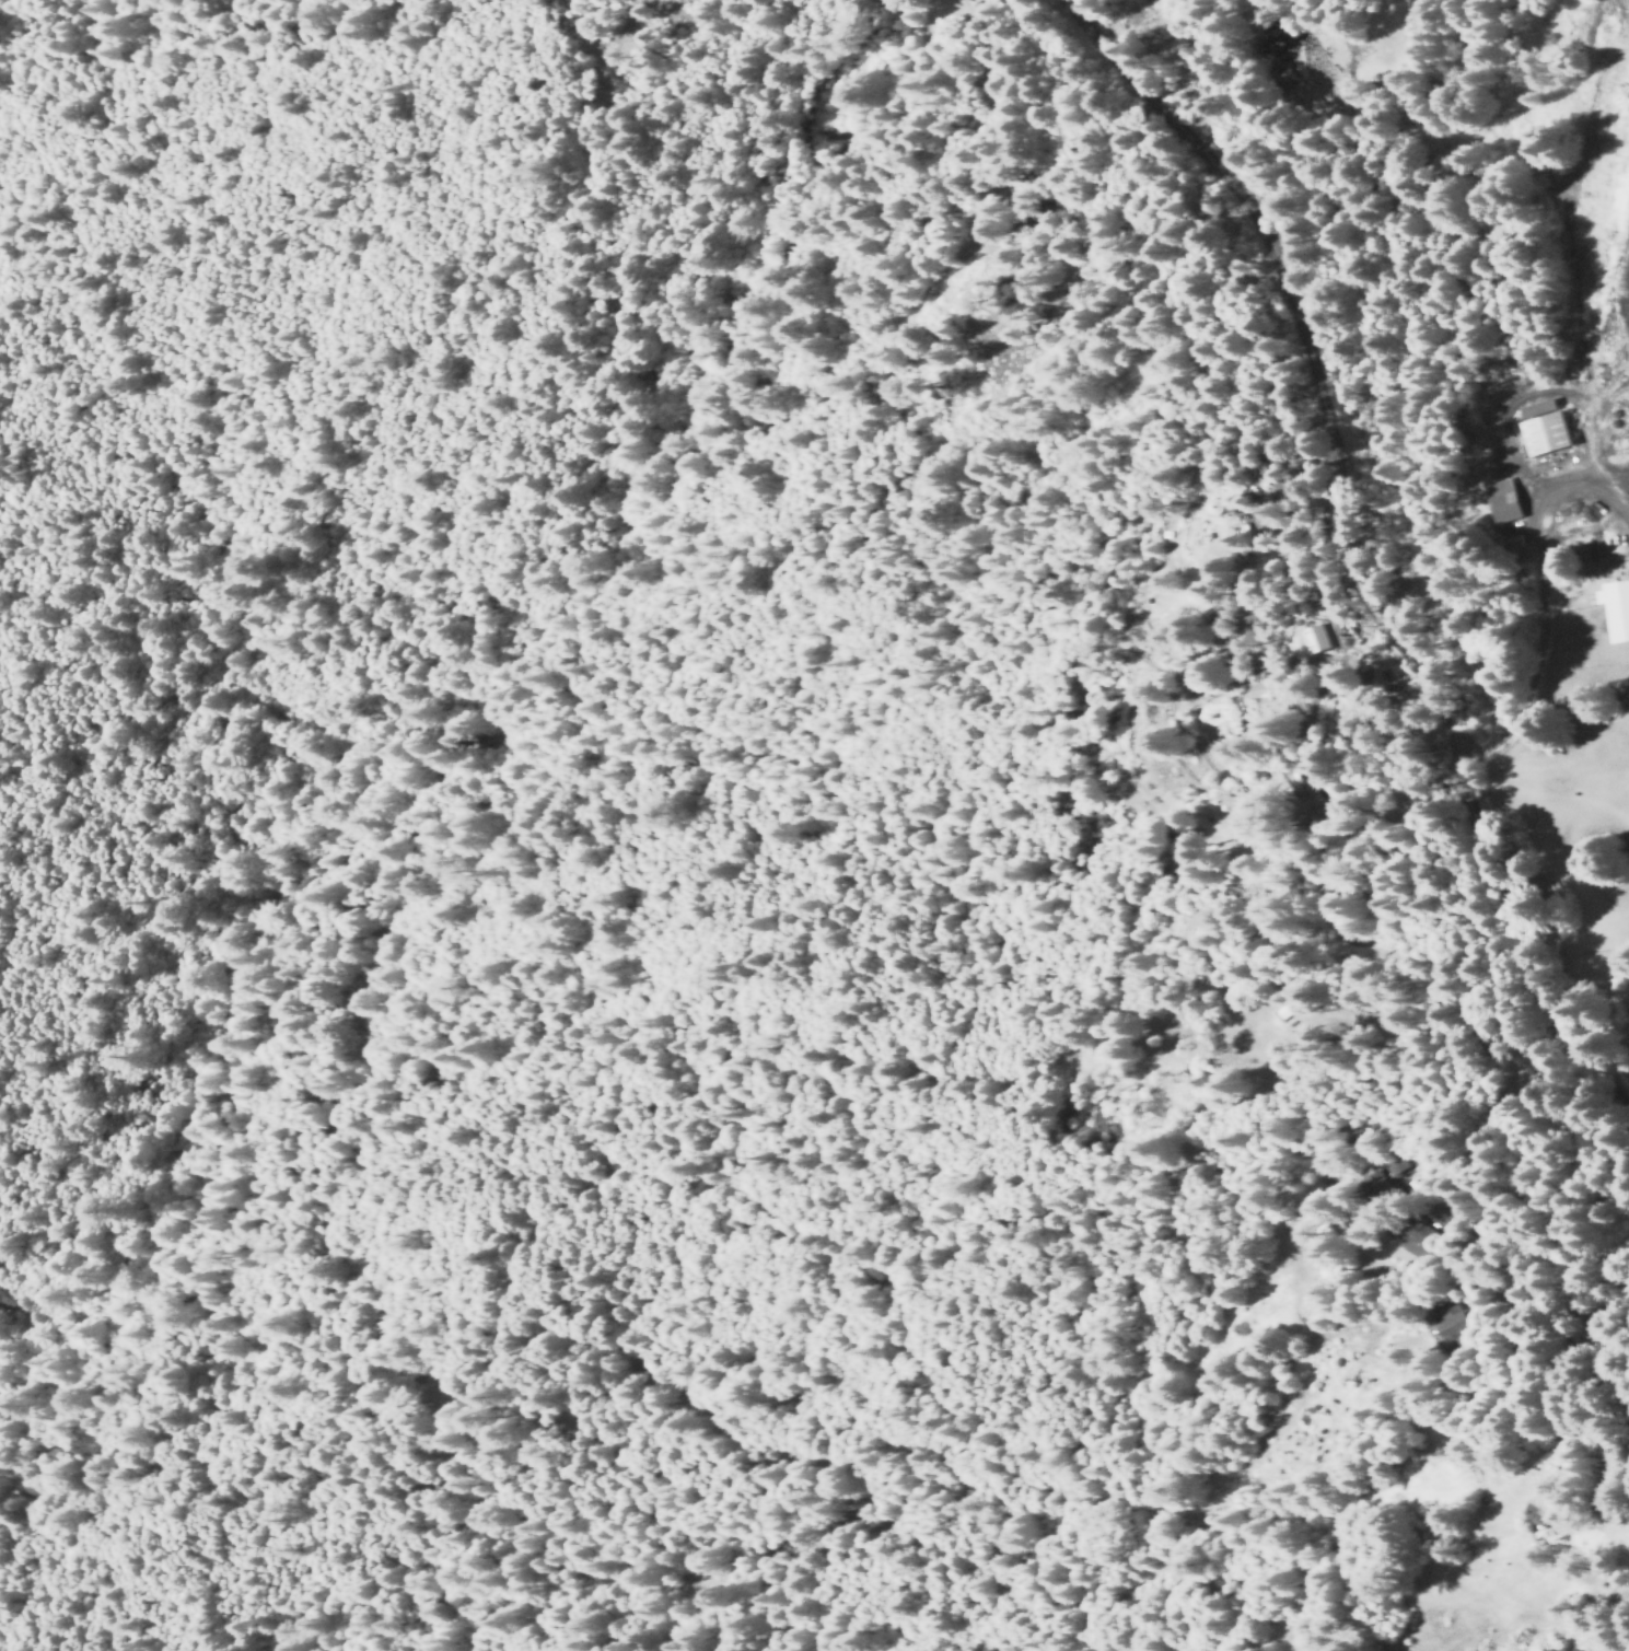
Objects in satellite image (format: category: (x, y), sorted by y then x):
building: (981, 11)
building: (1013, 302)
building: (1543, 428)
building: (1502, 501)
building: (1213, 505)
road: (1358, 550)
building: (1616, 609)
building: (1322, 638)
road: (1538, 659)
building: (1282, 701)
building: (1322, 792)
building: (1288, 1012)
building: (1396, 1163)
building: (1384, 1189)
building: (1428, 1233)
building: (1462, 1321)
building: (1451, 1329)
building: (1559, 1454)
building: (1534, 1519)

